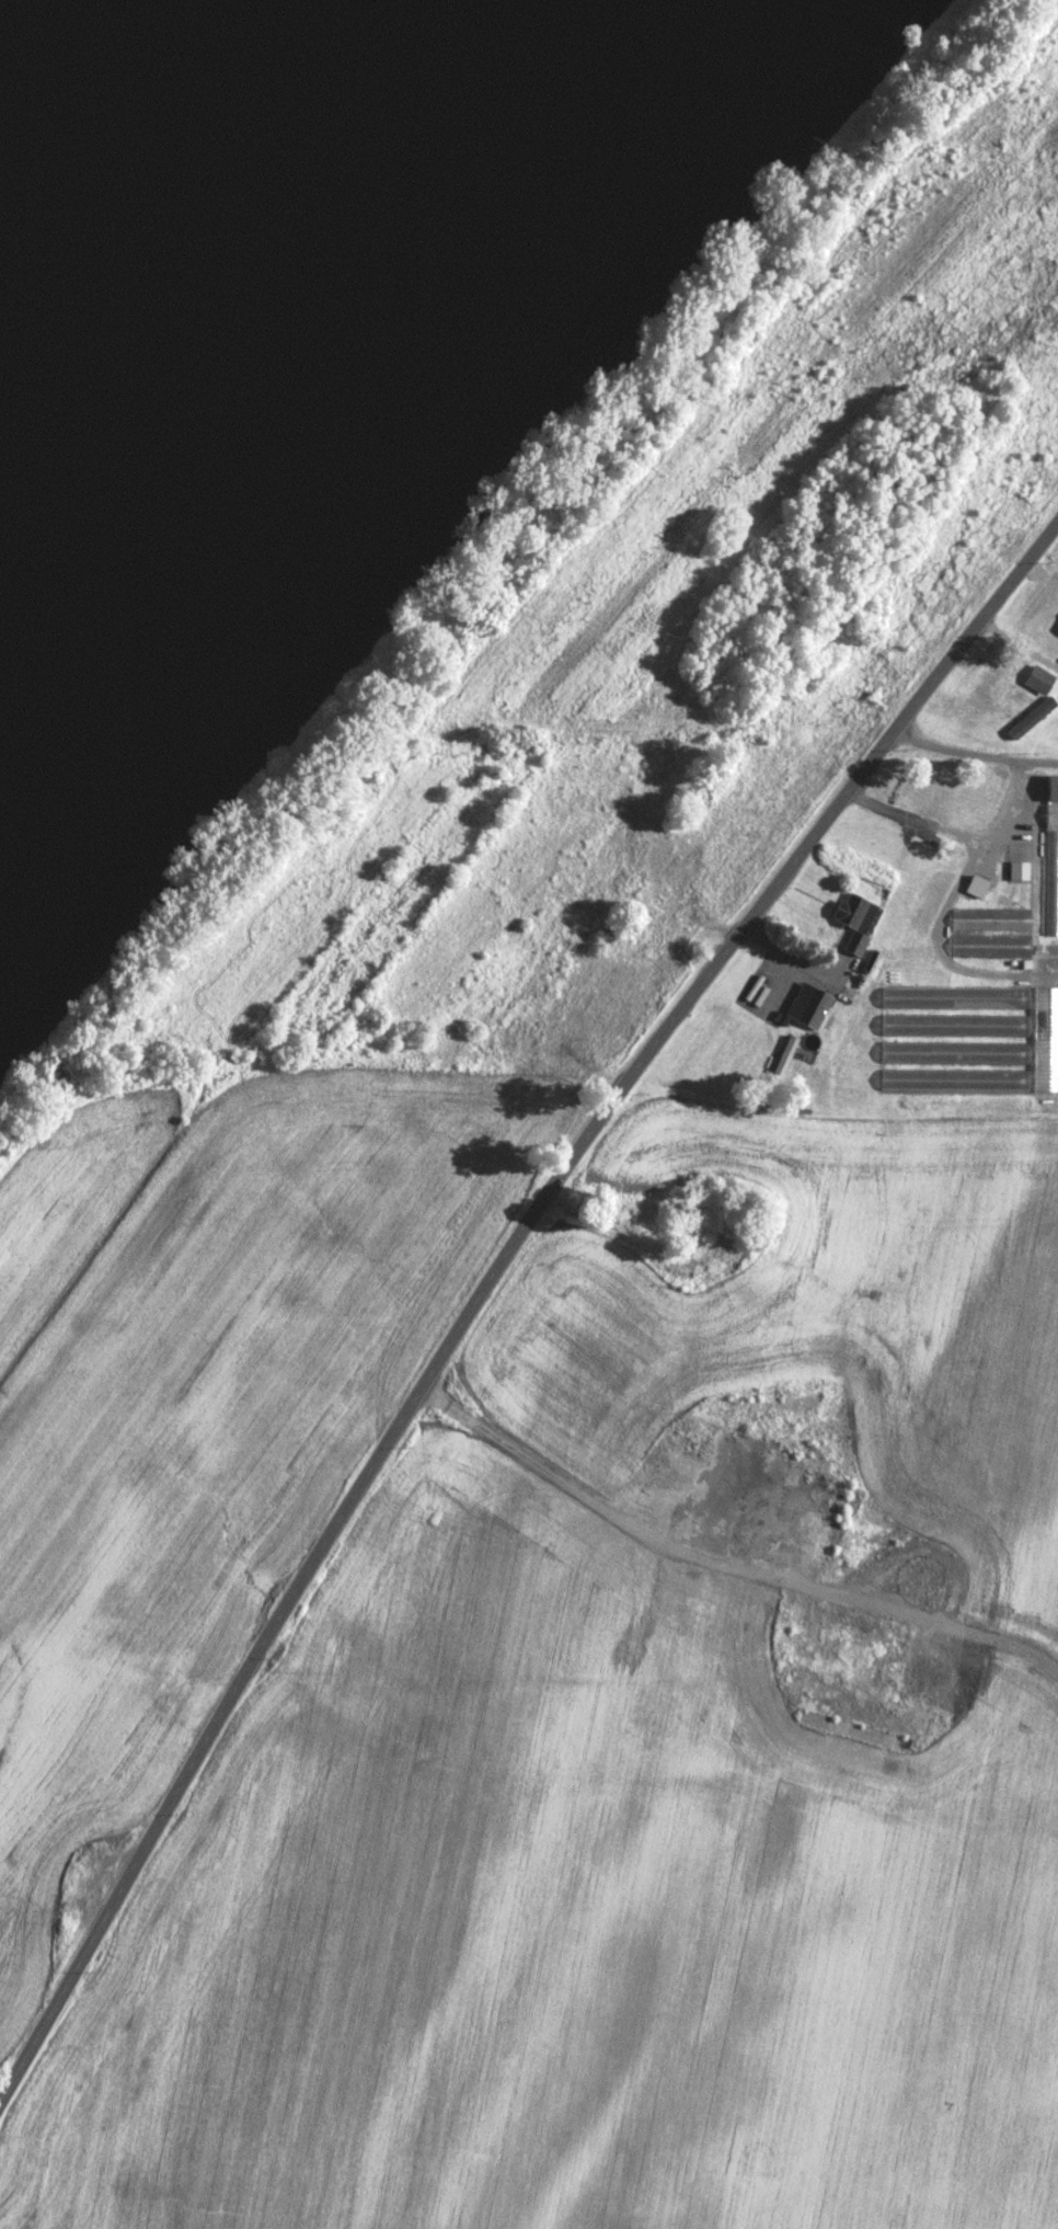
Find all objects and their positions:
river: (135, 165)
building: (1051, 645)
building: (1037, 682)
building: (1007, 699)
building: (1053, 790)
building: (935, 791)
building: (1051, 818)
building: (1017, 872)
building: (670, 877)
building: (940, 877)
building: (1050, 884)
building: (976, 888)
building: (991, 921)
building: (856, 926)
building: (648, 945)
building: (990, 947)
building: (953, 999)
building: (807, 1007)
building: (953, 1027)
building: (1045, 1041)
building: (538, 1043)
building: (953, 1054)
building: (953, 1082)
road: (503, 1291)
crop: (586, 1316)

